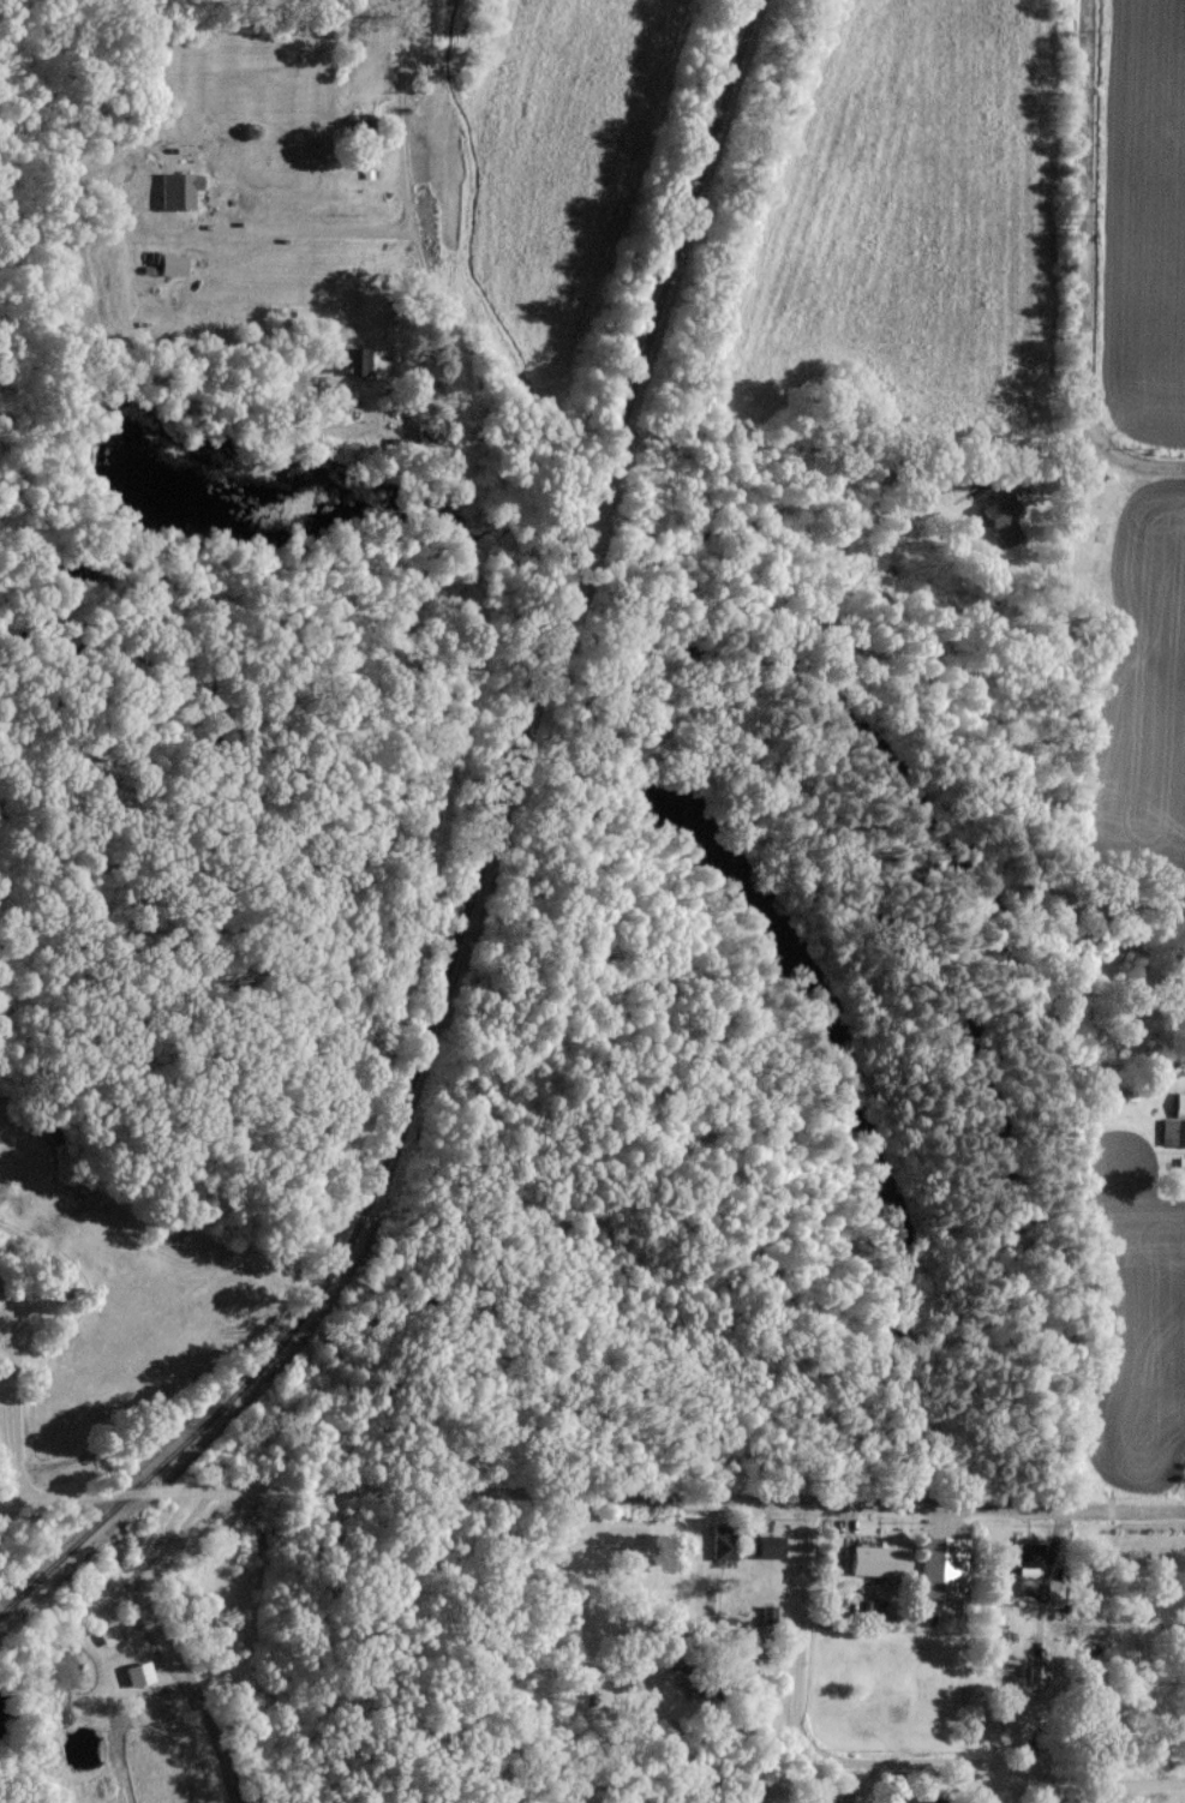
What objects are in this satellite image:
building: (182, 190)
road: (406, 211)
road: (313, 229)
building: (175, 264)
road: (1082, 270)
building: (360, 359)
building: (997, 516)
railway: (587, 534)
building: (1178, 1102)
building: (1172, 1131)
railway: (351, 1240)
road: (18, 1419)
road: (425, 1491)
road: (20, 1499)
railway: (120, 1503)
road: (997, 1510)
building: (764, 1544)
building: (718, 1545)
building: (1019, 1552)
building: (872, 1558)
building: (929, 1567)
building: (1001, 1582)
road: (145, 1588)
road: (802, 1630)
building: (112, 1635)
building: (142, 1673)
road: (998, 1766)
road: (1059, 1791)

